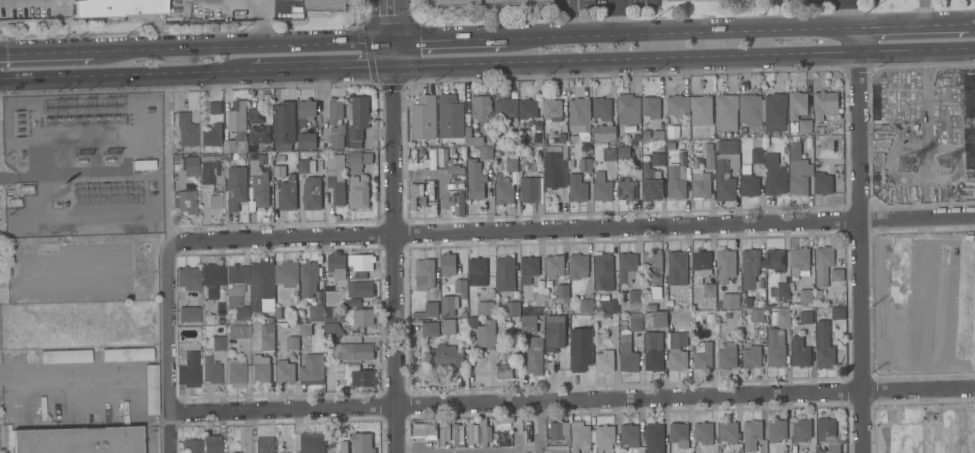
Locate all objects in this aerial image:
building: (482, 2)
building: (325, 5)
building: (114, 7)
road: (853, 14)
road: (614, 18)
road: (577, 19)
road: (916, 27)
road: (393, 33)
road: (681, 34)
road: (450, 41)
road: (857, 41)
traffic signals: (394, 43)
road: (243, 48)
road: (916, 50)
road: (46, 53)
road: (626, 60)
traffic signals: (394, 67)
road: (319, 69)
road: (121, 75)
building: (825, 104)
building: (797, 105)
building: (677, 106)
building: (629, 107)
building: (651, 107)
building: (214, 108)
building: (604, 108)
building: (306, 109)
building: (505, 109)
building: (552, 109)
building: (528, 110)
building: (701, 110)
building: (335, 111)
building: (482, 111)
building: (750, 111)
building: (726, 112)
building: (775, 112)
building: (579, 114)
building: (256, 115)
building: (358, 117)
building: (424, 117)
building: (450, 117)
building: (284, 125)
building: (805, 126)
building: (236, 127)
building: (185, 129)
building: (604, 130)
building: (210, 134)
building: (261, 137)
building: (472, 138)
building: (307, 141)
building: (337, 141)
building: (795, 150)
building: (623, 152)
building: (609, 153)
building: (709, 156)
building: (757, 156)
road: (167, 157)
building: (443, 158)
building: (432, 159)
building: (658, 159)
building: (358, 161)
building: (414, 161)
building: (509, 161)
power tower: (953, 164)
power substation: (81, 165)
building: (190, 166)
building: (306, 166)
building: (553, 167)
building: (209, 168)
building: (726, 168)
power tower: (916, 168)
building: (454, 169)
building: (279, 170)
building: (291, 171)
building: (478, 173)
road: (36, 175)
building: (799, 176)
building: (336, 177)
building: (580, 178)
building: (259, 179)
building: (775, 180)
building: (677, 181)
building: (748, 182)
building: (650, 183)
building: (823, 183)
building: (700, 184)
building: (602, 187)
building: (235, 188)
building: (431, 189)
building: (531, 189)
building: (626, 190)
building: (359, 192)
building: (504, 192)
building: (312, 193)
building: (417, 195)
building: (287, 196)
building: (186, 201)
building: (458, 205)
building: (430, 209)
road: (572, 228)
road: (862, 252)
road: (396, 259)
building: (775, 260)
building: (800, 261)
building: (361, 262)
building: (448, 264)
building: (823, 264)
building: (337, 265)
building: (554, 265)
building: (701, 265)
building: (726, 265)
building: (578, 266)
building: (627, 267)
building: (750, 267)
building: (677, 268)
building: (528, 270)
building: (655, 270)
building: (603, 271)
building: (477, 272)
building: (287, 274)
building: (424, 274)
building: (505, 274)
building: (837, 274)
building: (189, 278)
building: (310, 280)
building: (214, 281)
building: (261, 285)
building: (329, 285)
building: (461, 287)
building: (360, 289)
building: (783, 289)
building: (237, 290)
building: (709, 290)
building: (563, 292)
building: (805, 296)
building: (635, 300)
building: (729, 301)
building: (586, 302)
building: (655, 302)
building: (352, 303)
building: (450, 306)
building: (608, 306)
building: (485, 308)
building: (511, 309)
building: (528, 309)
building: (427, 310)
building: (838, 312)
building: (316, 313)
building: (189, 314)
building: (329, 314)
building: (757, 315)
building: (359, 317)
building: (805, 317)
building: (783, 318)
building: (659, 319)
building: (636, 322)
building: (528, 323)
building: (448, 326)
building: (305, 329)
building: (430, 329)
building: (333, 330)
building: (238, 332)
building: (483, 332)
building: (555, 332)
building: (267, 337)
building: (292, 342)
building: (218, 343)
building: (824, 346)
road: (170, 347)
building: (776, 348)
building: (580, 349)
building: (353, 351)
building: (653, 351)
building: (800, 351)
building: (126, 354)
building: (702, 355)
building: (64, 356)
building: (445, 356)
building: (535, 356)
building: (727, 356)
building: (752, 357)
building: (628, 358)
building: (260, 359)
building: (678, 359)
building: (604, 362)
building: (188, 368)
building: (211, 370)
building: (312, 370)
building: (285, 371)
building: (504, 371)
building: (236, 372)
road: (66, 373)
building: (261, 373)
building: (355, 374)
building: (150, 389)
road: (572, 401)
building: (503, 423)
building: (528, 427)
road: (539, 428)
building: (559, 429)
building: (426, 430)
building: (777, 430)
building: (801, 430)
building: (728, 432)
building: (444, 433)
building: (485, 433)
building: (679, 433)
building: (703, 433)
building: (472, 434)
building: (751, 434)
building: (829, 434)
building: (458, 435)
building: (630, 435)
building: (580, 437)
building: (605, 437)
building: (74, 438)
building: (654, 438)
building: (501, 439)
building: (311, 442)
building: (362, 442)
building: (211, 444)
building: (192, 445)
building: (264, 445)
building: (557, 449)
building: (235, 452)
road: (469, 452)

